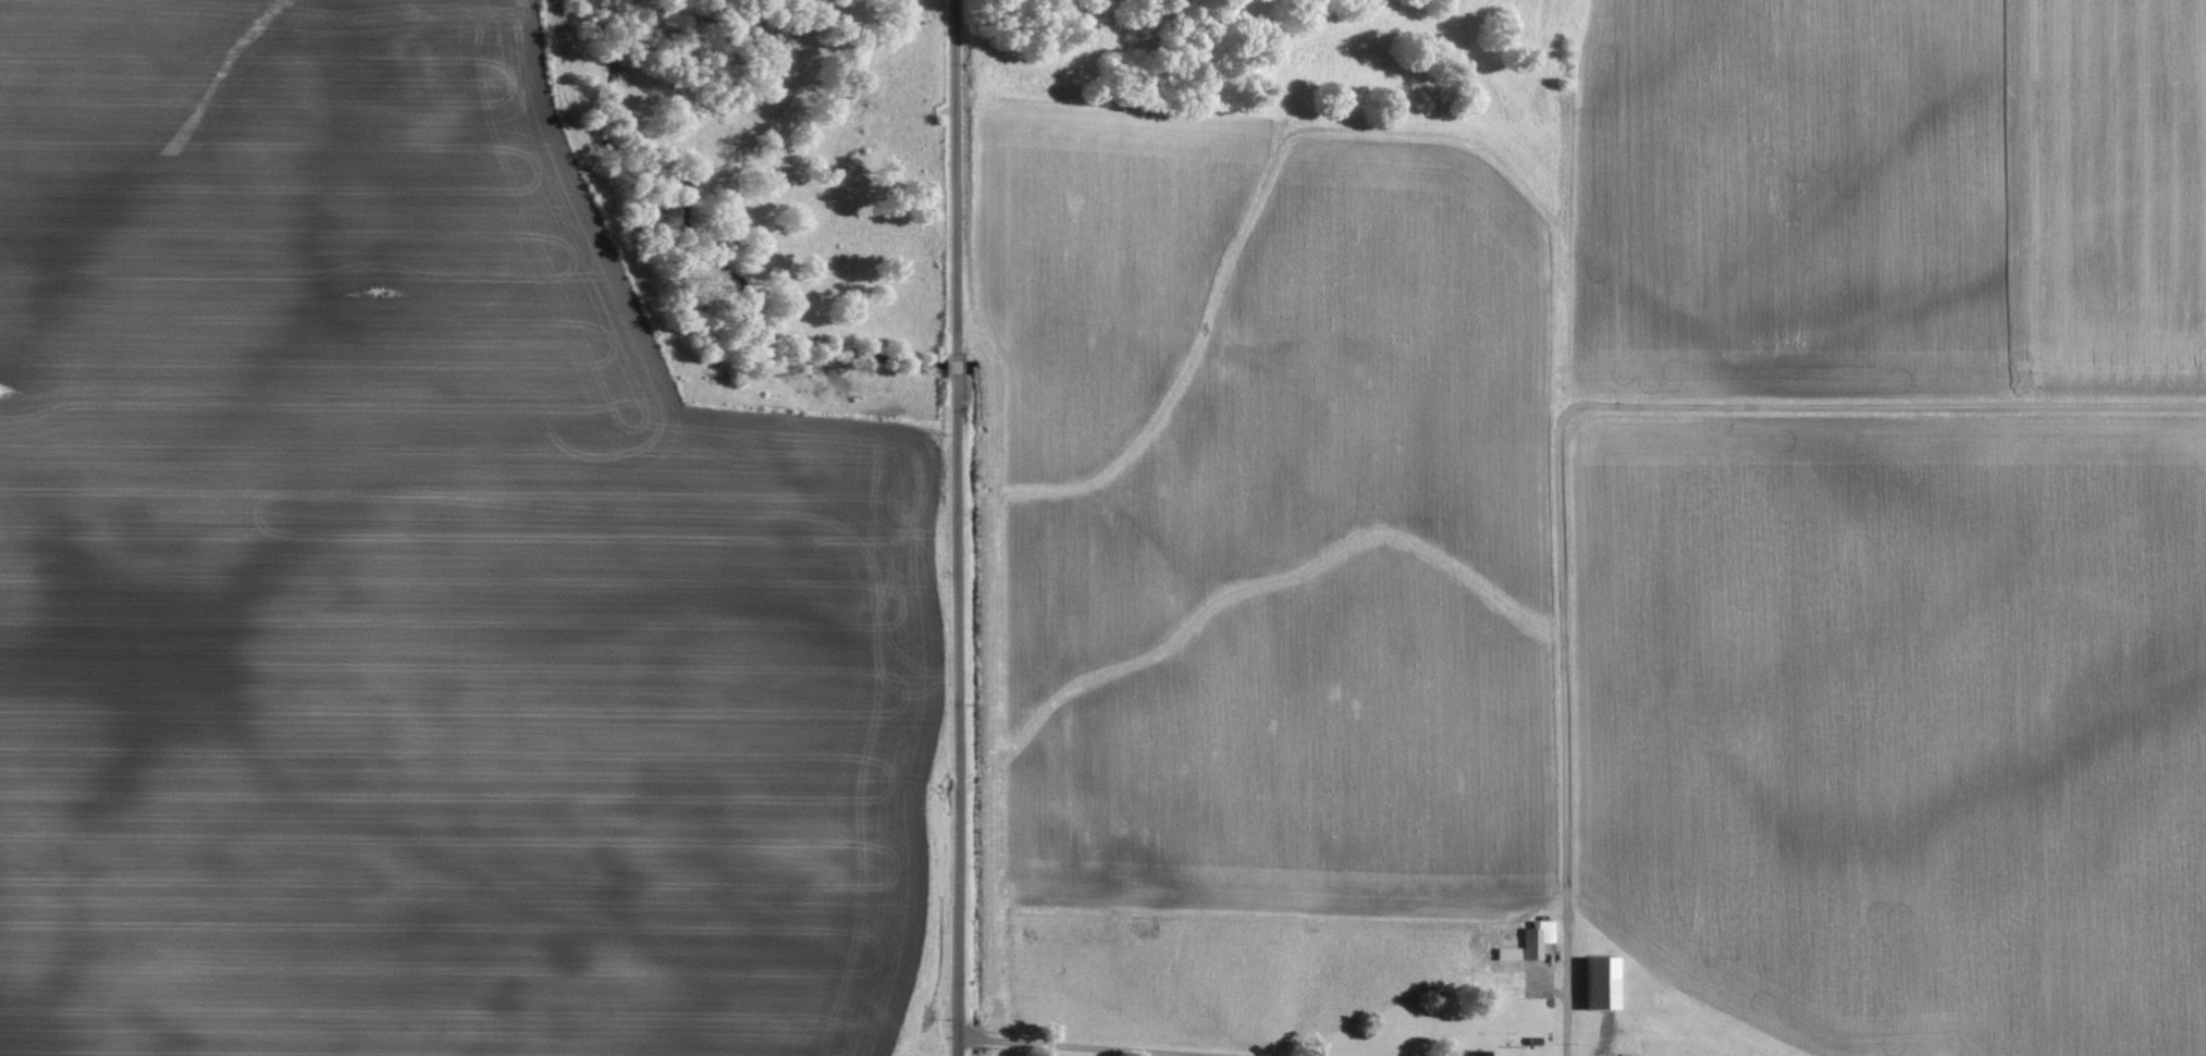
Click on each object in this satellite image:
road: (954, 177)
road: (956, 366)
road: (1635, 401)
road: (957, 716)
building: (1524, 945)
road: (1567, 982)
building: (1594, 985)
road: (1096, 1045)
building: (1472, 1054)

